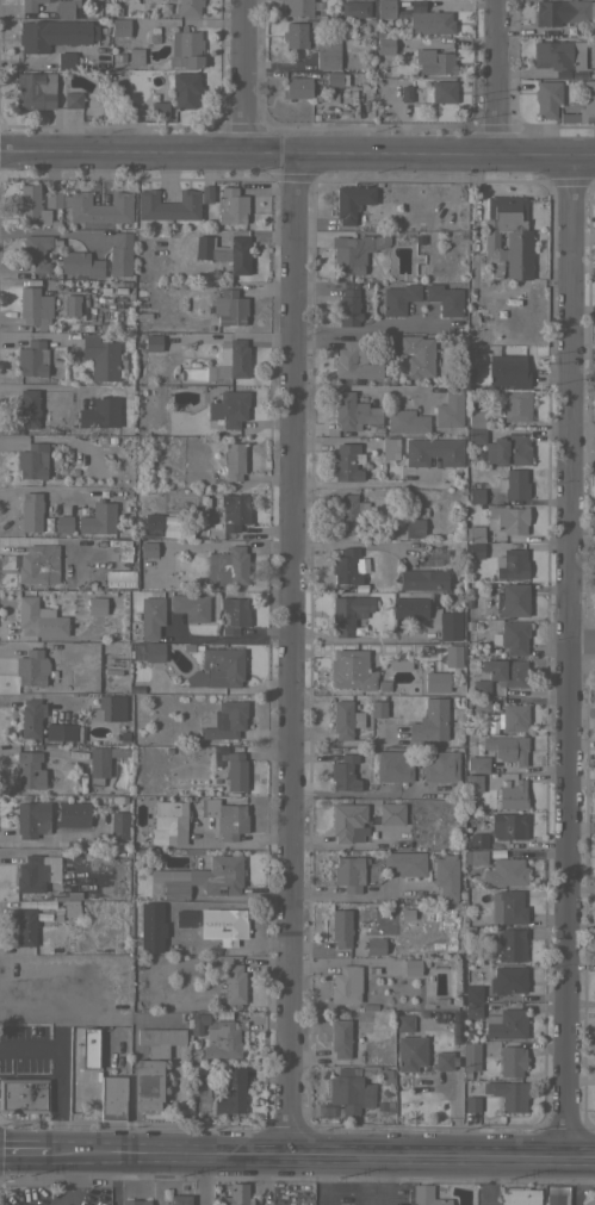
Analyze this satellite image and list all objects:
building: (29, 5)
building: (66, 6)
building: (188, 7)
building: (297, 7)
building: (354, 8)
building: (385, 8)
building: (562, 11)
building: (428, 19)
building: (119, 26)
building: (54, 33)
building: (295, 35)
building: (385, 45)
building: (185, 48)
building: (327, 54)
building: (136, 55)
building: (557, 55)
building: (66, 60)
building: (434, 61)
building: (335, 79)
road: (243, 80)
road: (491, 80)
building: (297, 87)
building: (35, 89)
building: (444, 91)
building: (179, 93)
building: (411, 93)
building: (546, 98)
building: (73, 99)
building: (582, 106)
road: (297, 160)
building: (206, 193)
building: (352, 201)
building: (31, 205)
building: (168, 205)
building: (231, 205)
building: (92, 207)
road: (51, 231)
building: (507, 237)
road: (473, 248)
building: (38, 249)
building: (224, 250)
building: (354, 251)
building: (120, 254)
building: (80, 262)
building: (398, 298)
building: (445, 298)
building: (72, 304)
building: (33, 308)
building: (229, 308)
building: (348, 308)
road: (367, 328)
building: (153, 342)
building: (417, 355)
building: (100, 356)
building: (32, 358)
building: (231, 358)
building: (354, 362)
building: (498, 368)
road: (359, 387)
building: (516, 405)
building: (27, 408)
building: (448, 409)
building: (100, 411)
building: (227, 411)
building: (353, 411)
building: (476, 418)
building: (407, 421)
building: (476, 434)
building: (390, 448)
building: (508, 449)
building: (433, 452)
building: (233, 460)
building: (32, 461)
building: (346, 461)
road: (358, 483)
building: (514, 483)
building: (476, 495)
building: (31, 510)
building: (234, 510)
building: (349, 513)
building: (98, 517)
building: (507, 518)
building: (63, 523)
building: (151, 524)
building: (414, 528)
building: (475, 533)
road: (347, 542)
building: (148, 548)
building: (475, 549)
building: (38, 564)
building: (512, 564)
building: (228, 566)
building: (345, 566)
building: (422, 579)
building: (514, 600)
building: (95, 605)
building: (191, 605)
building: (409, 608)
building: (348, 611)
building: (234, 614)
building: (150, 616)
building: (38, 619)
building: (448, 625)
road: (230, 636)
building: (514, 636)
road: (361, 638)
road: (581, 641)
building: (147, 651)
road: (289, 656)
building: (452, 656)
road: (566, 658)
building: (399, 664)
building: (31, 667)
building: (217, 667)
building: (351, 669)
building: (506, 671)
building: (435, 681)
building: (481, 687)
building: (479, 703)
building: (104, 708)
building: (377, 708)
building: (31, 718)
building: (514, 718)
building: (345, 719)
building: (225, 720)
building: (429, 721)
building: (494, 721)
building: (60, 731)
building: (506, 746)
building: (101, 762)
building: (477, 763)
building: (392, 766)
building: (440, 766)
building: (29, 769)
building: (235, 771)
building: (343, 772)
building: (472, 782)
building: (513, 795)
building: (391, 813)
building: (225, 816)
building: (31, 819)
building: (347, 821)
building: (169, 822)
building: (118, 825)
building: (508, 825)
building: (142, 839)
building: (477, 840)
building: (477, 856)
building: (404, 863)
building: (504, 871)
building: (349, 872)
building: (31, 874)
building: (206, 877)
building: (445, 877)
road: (346, 894)
building: (507, 906)
building: (404, 914)
building: (185, 918)
building: (25, 926)
building: (229, 926)
building: (341, 927)
building: (512, 944)
building: (374, 945)
building: (411, 967)
building: (508, 980)
building: (234, 982)
building: (346, 983)
building: (472, 993)
building: (472, 1010)
building: (198, 1021)
building: (506, 1024)
building: (343, 1038)
building: (160, 1041)
building: (222, 1041)
building: (455, 1043)
building: (408, 1045)
building: (88, 1049)
building: (470, 1055)
building: (510, 1060)
road: (57, 1072)
building: (378, 1074)
building: (196, 1075)
building: (148, 1083)
building: (230, 1092)
building: (349, 1092)
building: (507, 1093)
building: (23, 1094)
building: (112, 1098)
building: (471, 1104)
building: (385, 1105)
road: (21, 1150)
road: (320, 1154)
road: (114, 1178)
road: (199, 1178)
road: (382, 1181)
road: (484, 1181)
building: (235, 1195)
building: (427, 1195)
building: (517, 1195)
building: (556, 1195)
building: (179, 1199)
building: (588, 1200)
building: (135, 1201)

